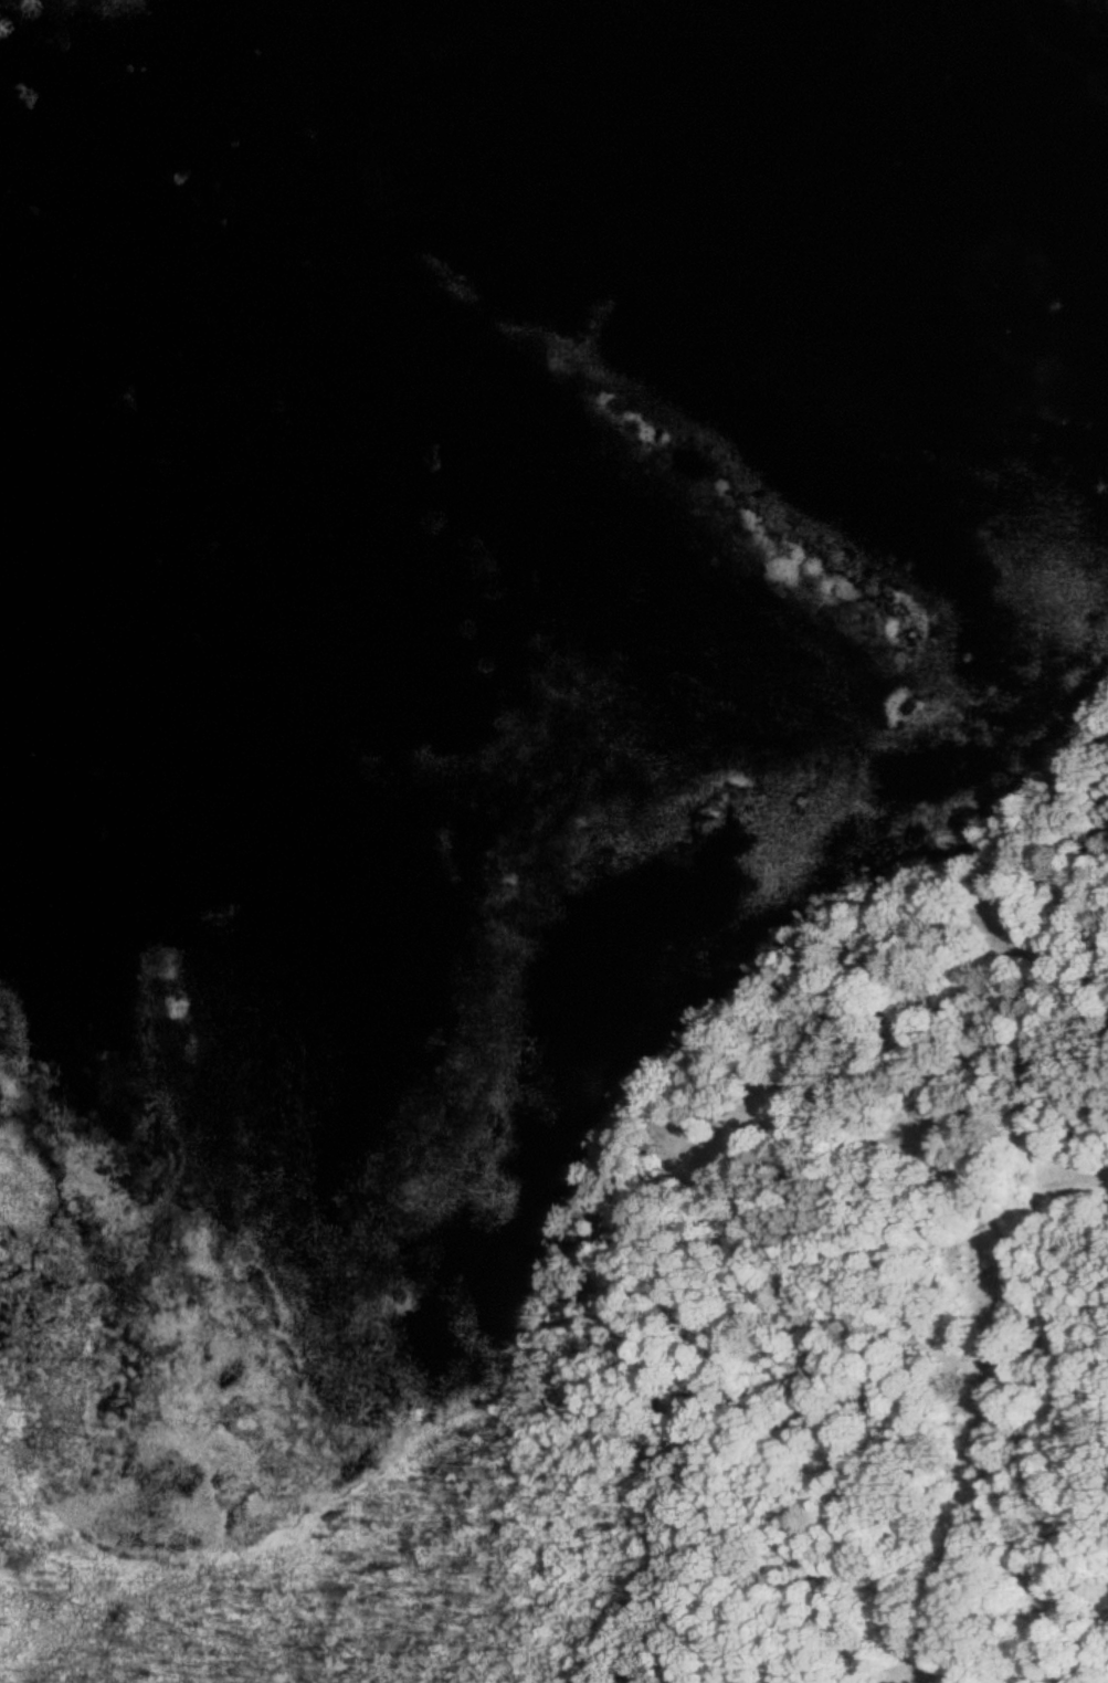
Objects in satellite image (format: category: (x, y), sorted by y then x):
building: (985, 981)
road: (965, 1034)

